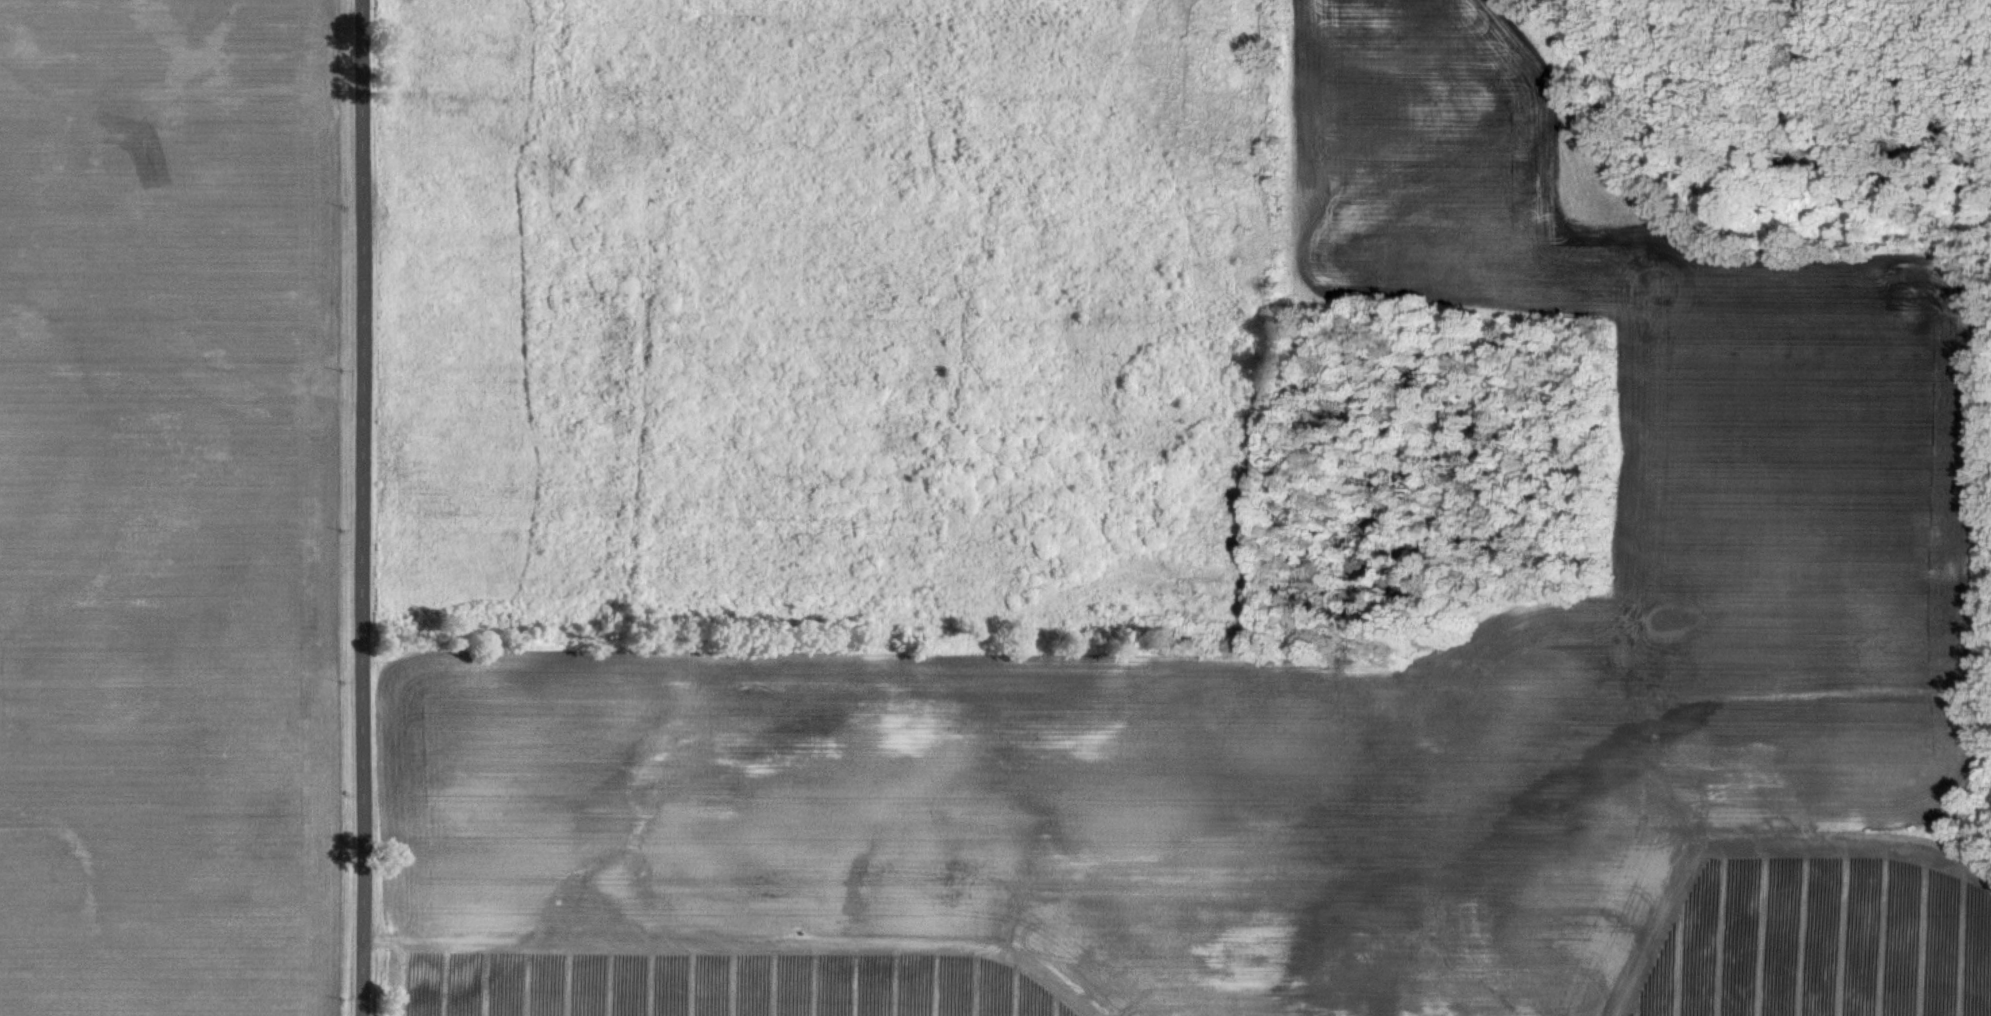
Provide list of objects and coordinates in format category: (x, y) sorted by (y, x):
road: (370, 508)

